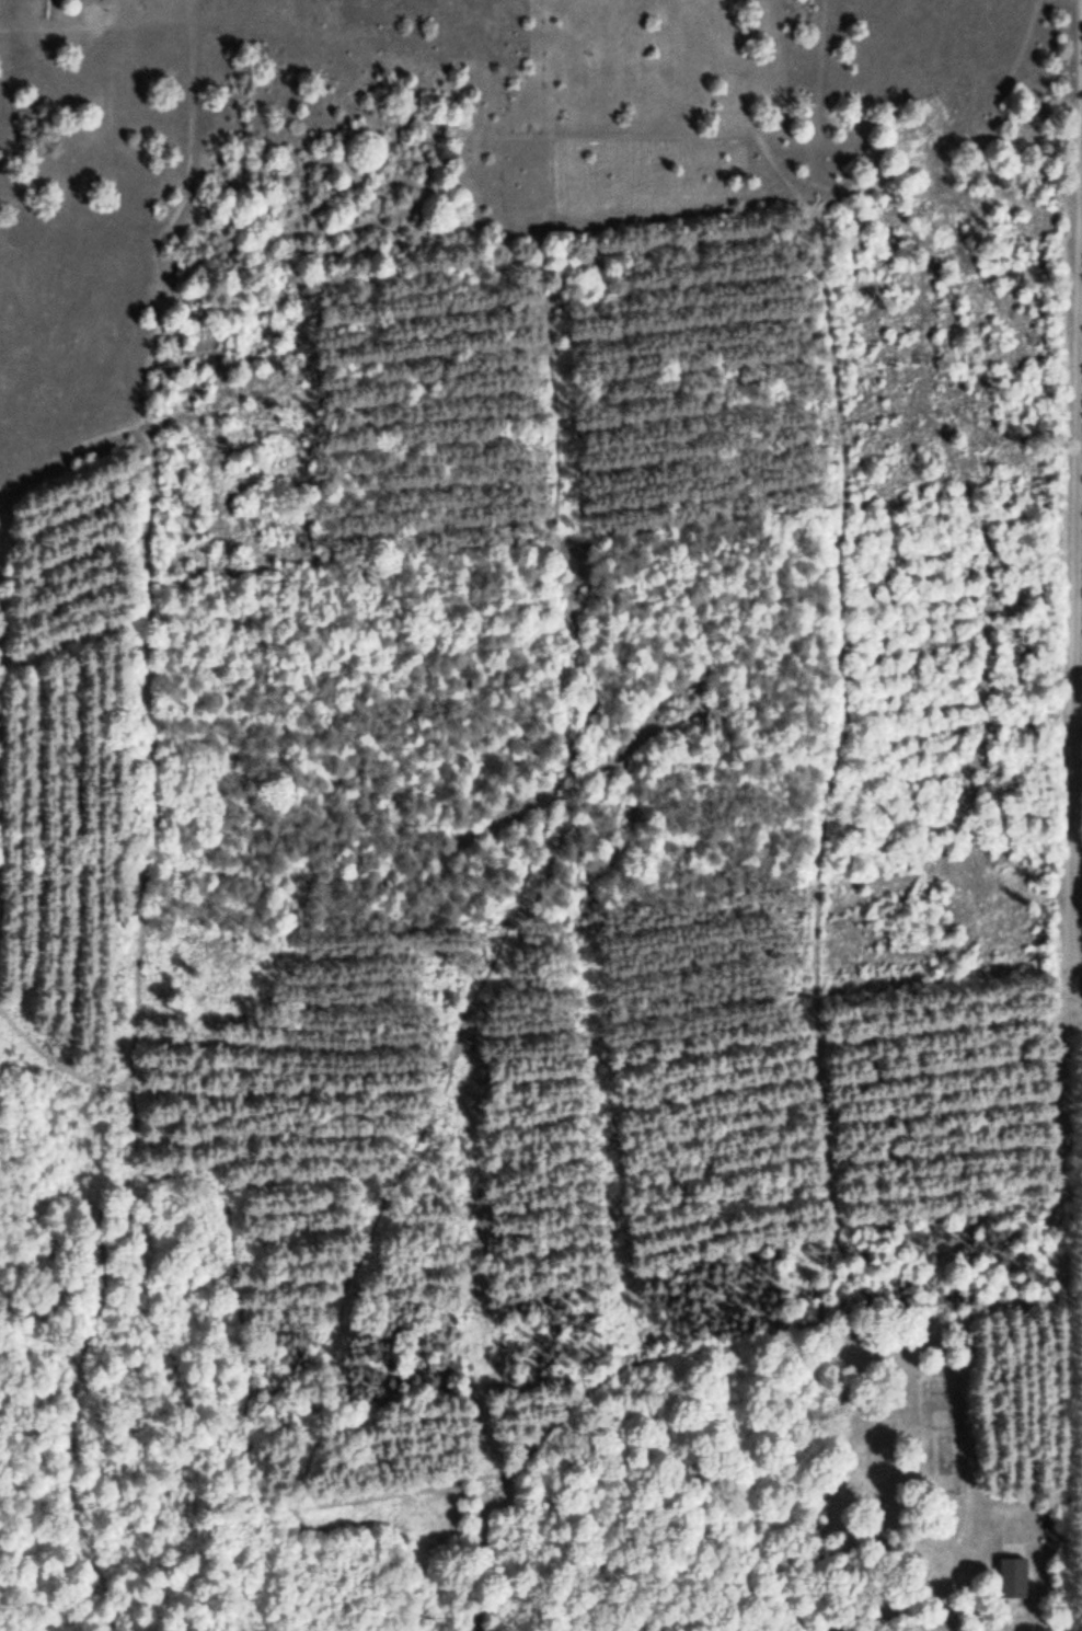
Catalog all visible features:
road: (1077, 625)

